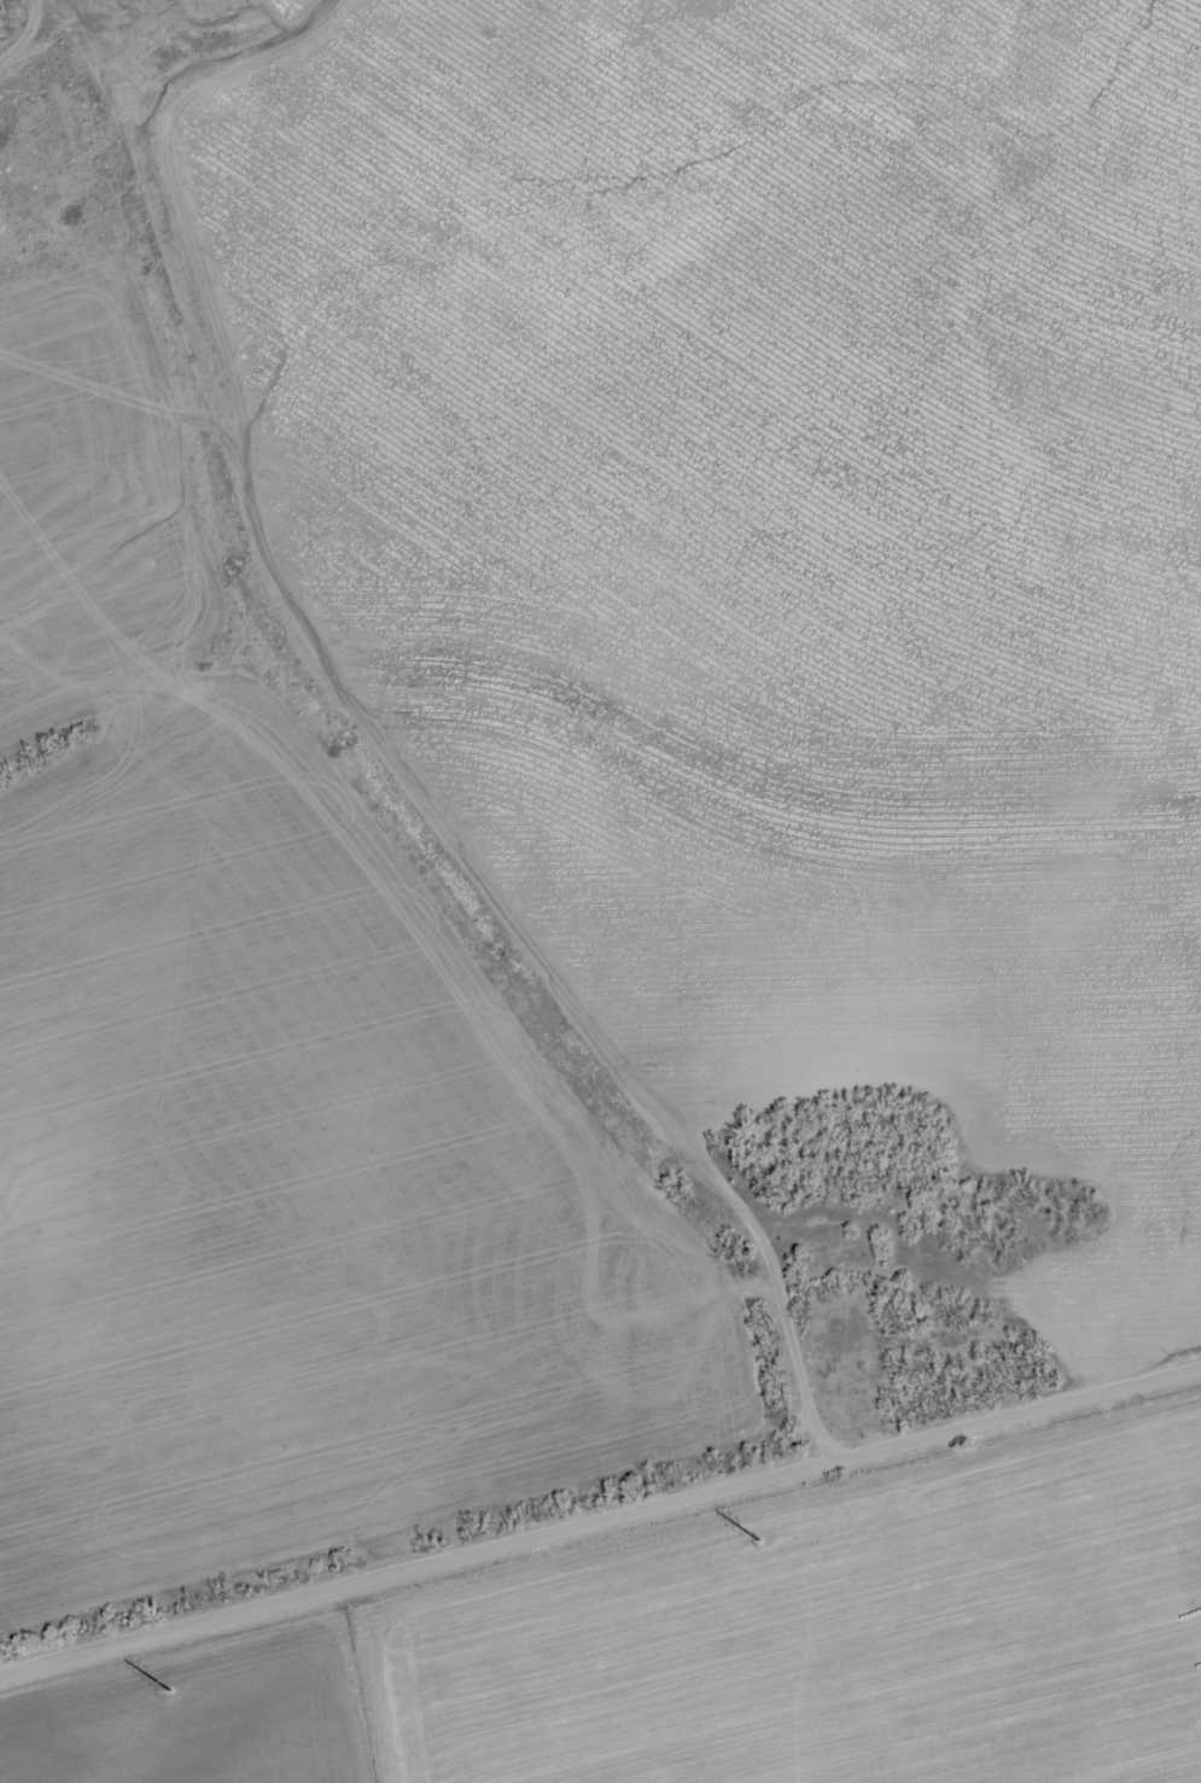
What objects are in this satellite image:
road: (601, 1536)
power tower: (764, 1540)
power tower: (173, 1691)

